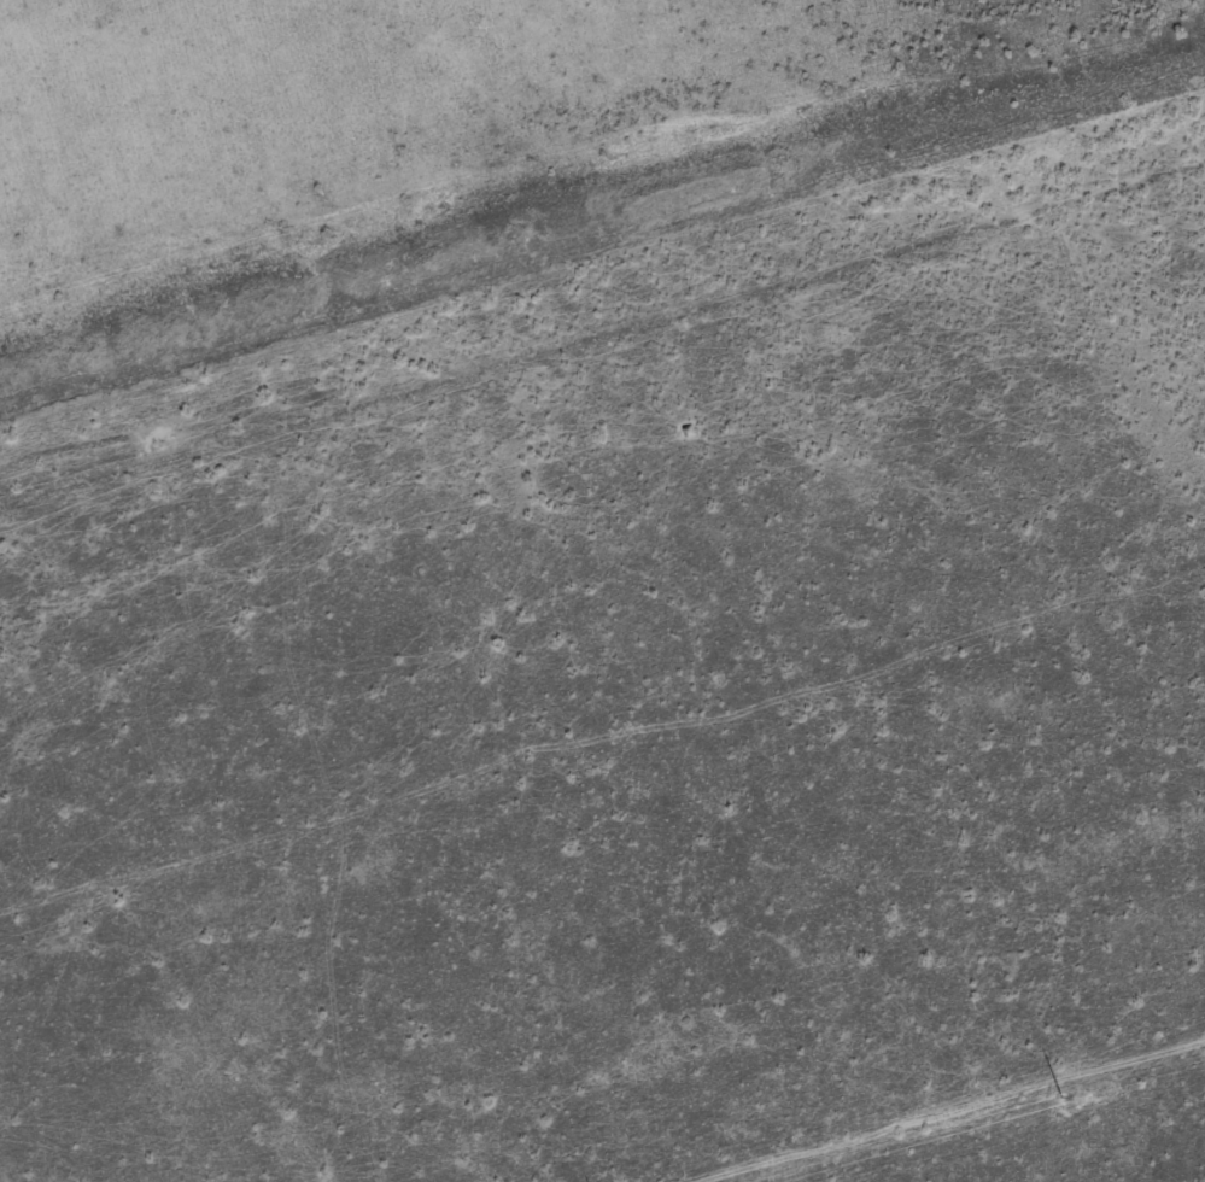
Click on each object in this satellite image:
power tower: (1052, 1094)

